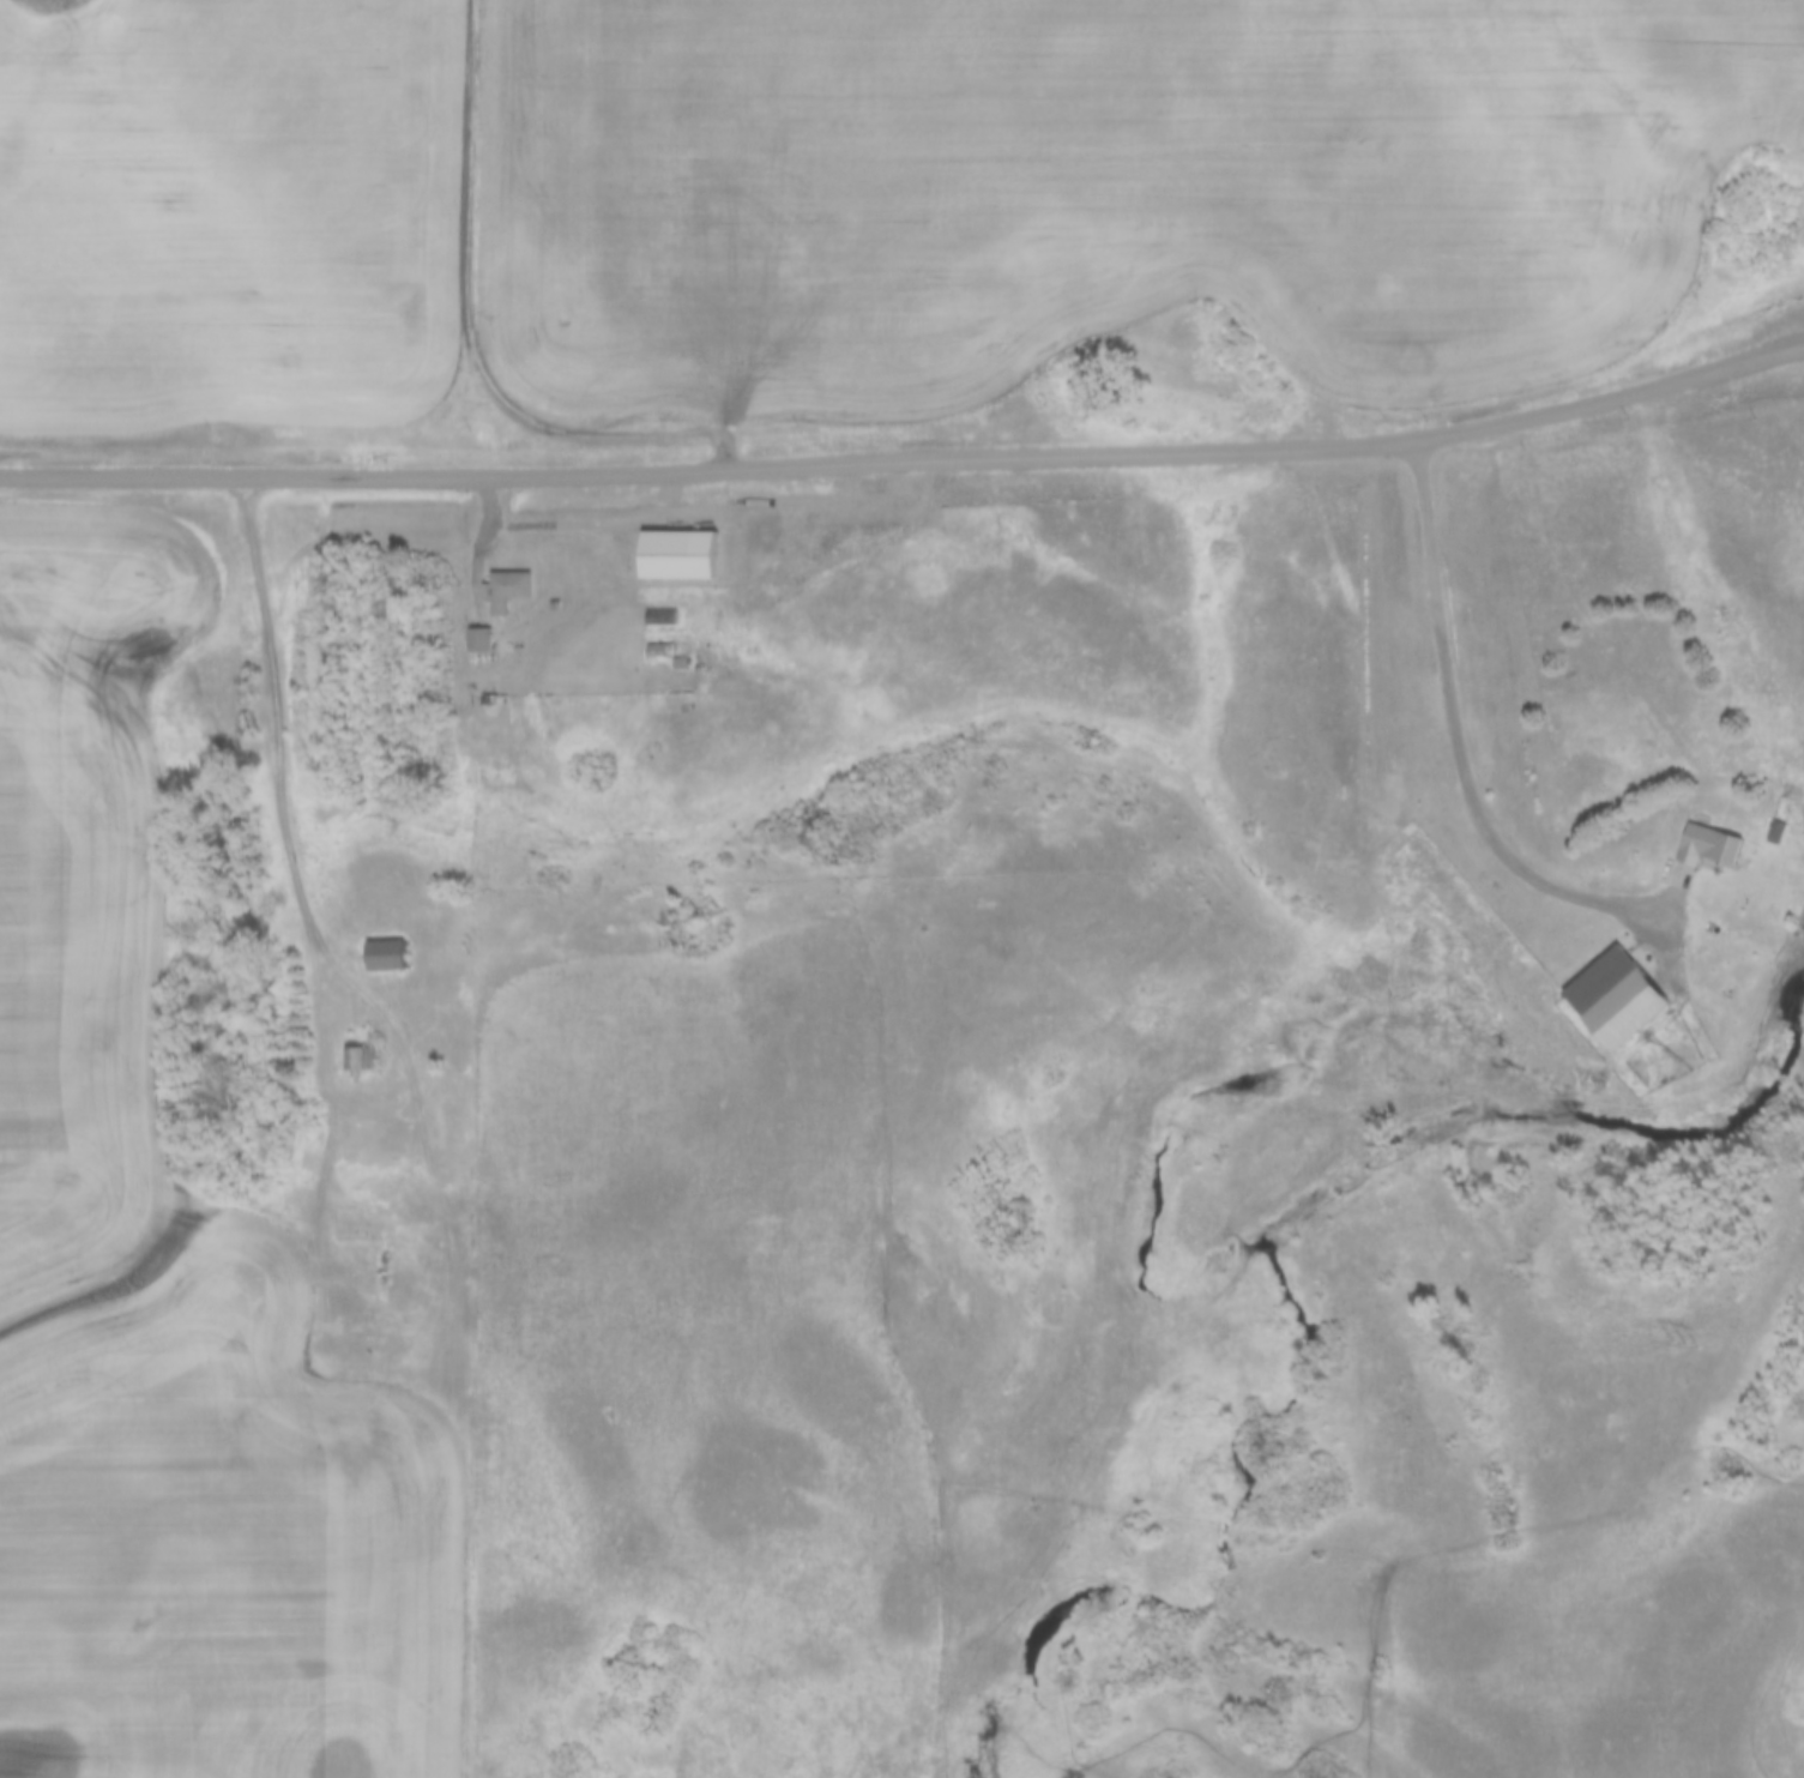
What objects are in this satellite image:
road: (907, 463)
building: (674, 556)
building: (505, 590)
building: (659, 619)
building: (476, 640)
road: (272, 730)
road: (1454, 757)
building: (1781, 833)
building: (1712, 845)
building: (382, 956)
building: (1616, 998)
building: (360, 1059)

